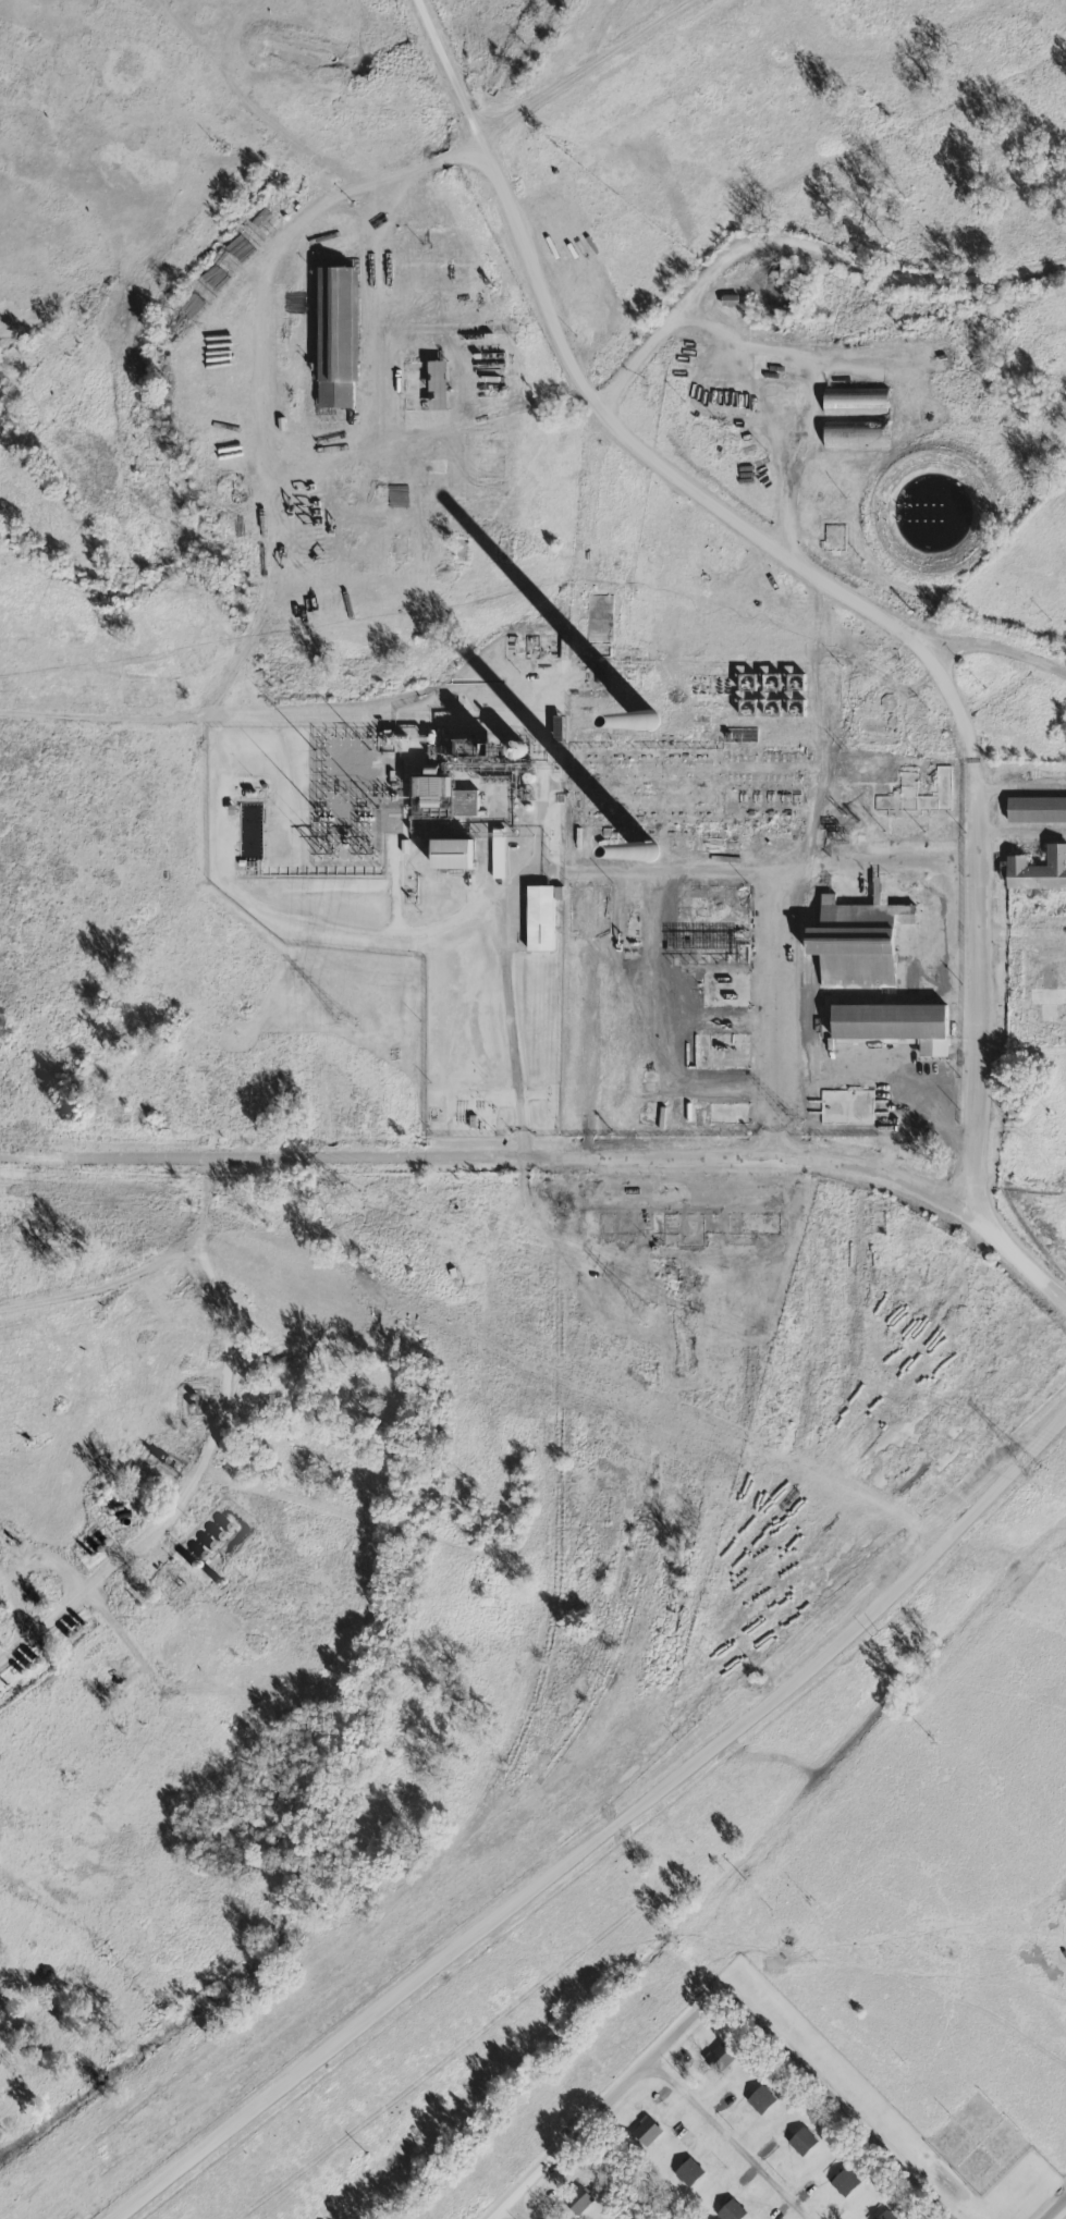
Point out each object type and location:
road: (583, 70)
building: (334, 333)
road: (776, 345)
building: (434, 384)
road: (578, 390)
road: (259, 391)
building: (853, 437)
road: (992, 649)
road: (231, 667)
road: (1017, 781)
power substation: (352, 792)
building: (441, 794)
building: (1036, 809)
road: (1017, 830)
building: (448, 853)
power tower: (326, 856)
power tower: (366, 856)
building: (1037, 869)
road: (769, 912)
building: (854, 940)
road: (970, 989)
power tower: (344, 1023)
building: (891, 1023)
road: (503, 1028)
road: (482, 1156)
power tower: (341, 1198)
power tower: (644, 1315)
road: (208, 1451)
power tower: (1039, 1480)
road: (114, 1627)
road: (601, 1822)
building: (716, 2057)
building: (759, 2098)
road: (838, 2102)
road: (612, 2104)
building: (644, 2131)
building: (800, 2140)
road: (728, 2141)
building: (686, 2171)
road: (621, 2178)
building: (843, 2181)
building: (576, 2199)
road: (1056, 2209)
building: (728, 2210)
road: (518, 2211)
building: (884, 2215)

